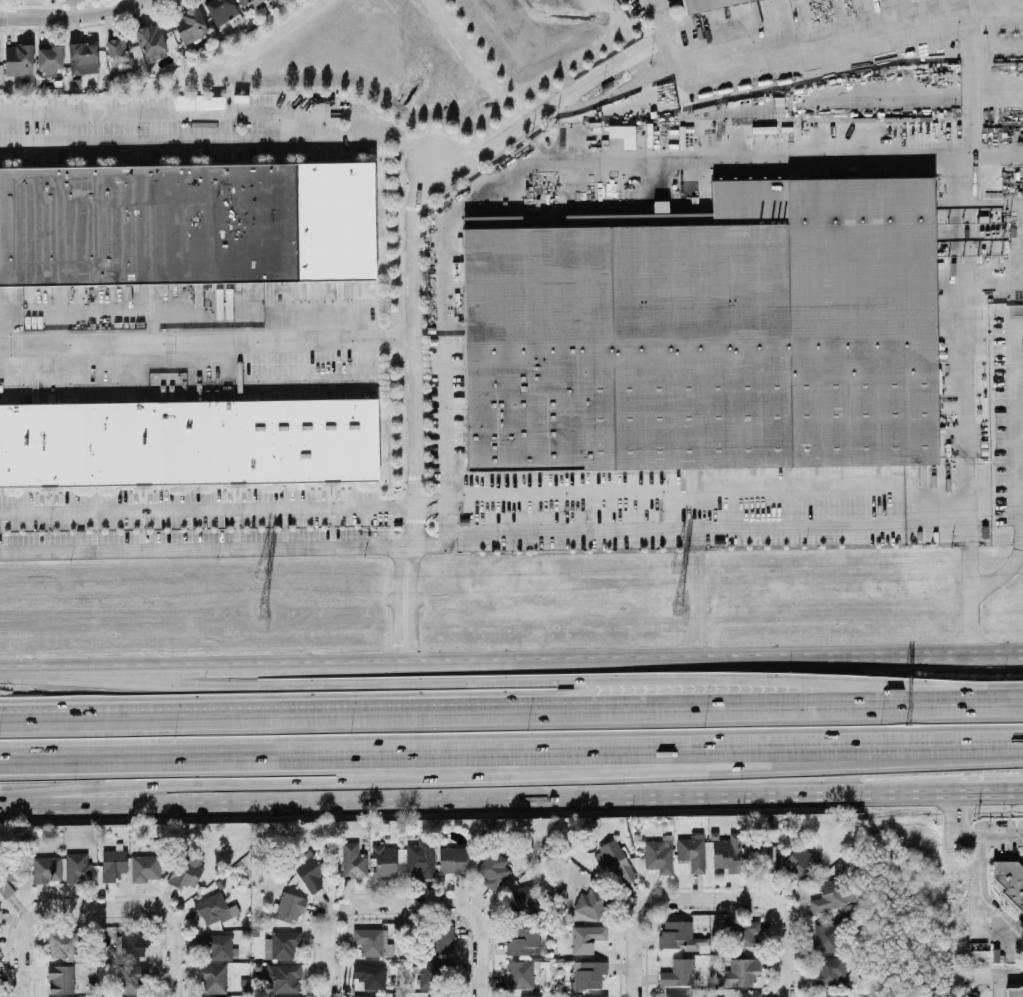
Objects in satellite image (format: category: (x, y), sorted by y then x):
building: (248, 2)
building: (691, 2)
building: (219, 10)
road: (67, 12)
road: (998, 17)
road: (657, 22)
building: (188, 25)
building: (148, 39)
building: (117, 52)
road: (675, 56)
building: (48, 57)
building: (82, 57)
building: (16, 60)
road: (417, 196)
building: (187, 221)
road: (975, 248)
building: (706, 333)
road: (207, 348)
road: (1017, 424)
building: (188, 441)
road: (908, 498)
road: (343, 510)
road: (1021, 519)
road: (1010, 561)
power tower: (675, 566)
power tower: (261, 572)
road: (688, 580)
power tower: (676, 611)
power tower: (259, 617)
road: (511, 661)
road: (509, 682)
road: (1019, 691)
road: (806, 697)
road: (299, 714)
road: (511, 758)
road: (429, 778)
road: (996, 791)
road: (484, 798)
road: (970, 835)
building: (690, 851)
building: (757, 851)
building: (725, 853)
building: (657, 855)
building: (418, 859)
building: (450, 860)
building: (351, 861)
building: (383, 862)
building: (612, 862)
building: (799, 862)
building: (111, 865)
building: (76, 867)
building: (143, 868)
building: (45, 869)
building: (184, 869)
building: (490, 870)
building: (307, 871)
building: (1011, 879)
building: (832, 898)
road: (759, 899)
road: (454, 901)
building: (520, 901)
building: (591, 904)
building: (288, 907)
road: (974, 907)
building: (213, 909)
road: (172, 919)
road: (33, 925)
building: (1020, 925)
building: (745, 933)
building: (679, 936)
building: (585, 938)
building: (825, 938)
building: (439, 939)
building: (521, 941)
building: (132, 943)
building: (371, 943)
building: (61, 947)
building: (215, 947)
road: (632, 949)
road: (327, 951)
building: (827, 971)
building: (740, 972)
building: (677, 973)
building: (587, 974)
building: (429, 975)
building: (519, 975)
building: (369, 976)
building: (278, 977)
road: (1002, 978)
building: (59, 979)
building: (132, 979)
building: (212, 979)
building: (1013, 992)
building: (676, 994)
building: (745, 994)
building: (528, 995)
building: (587, 995)
building: (835, 995)

